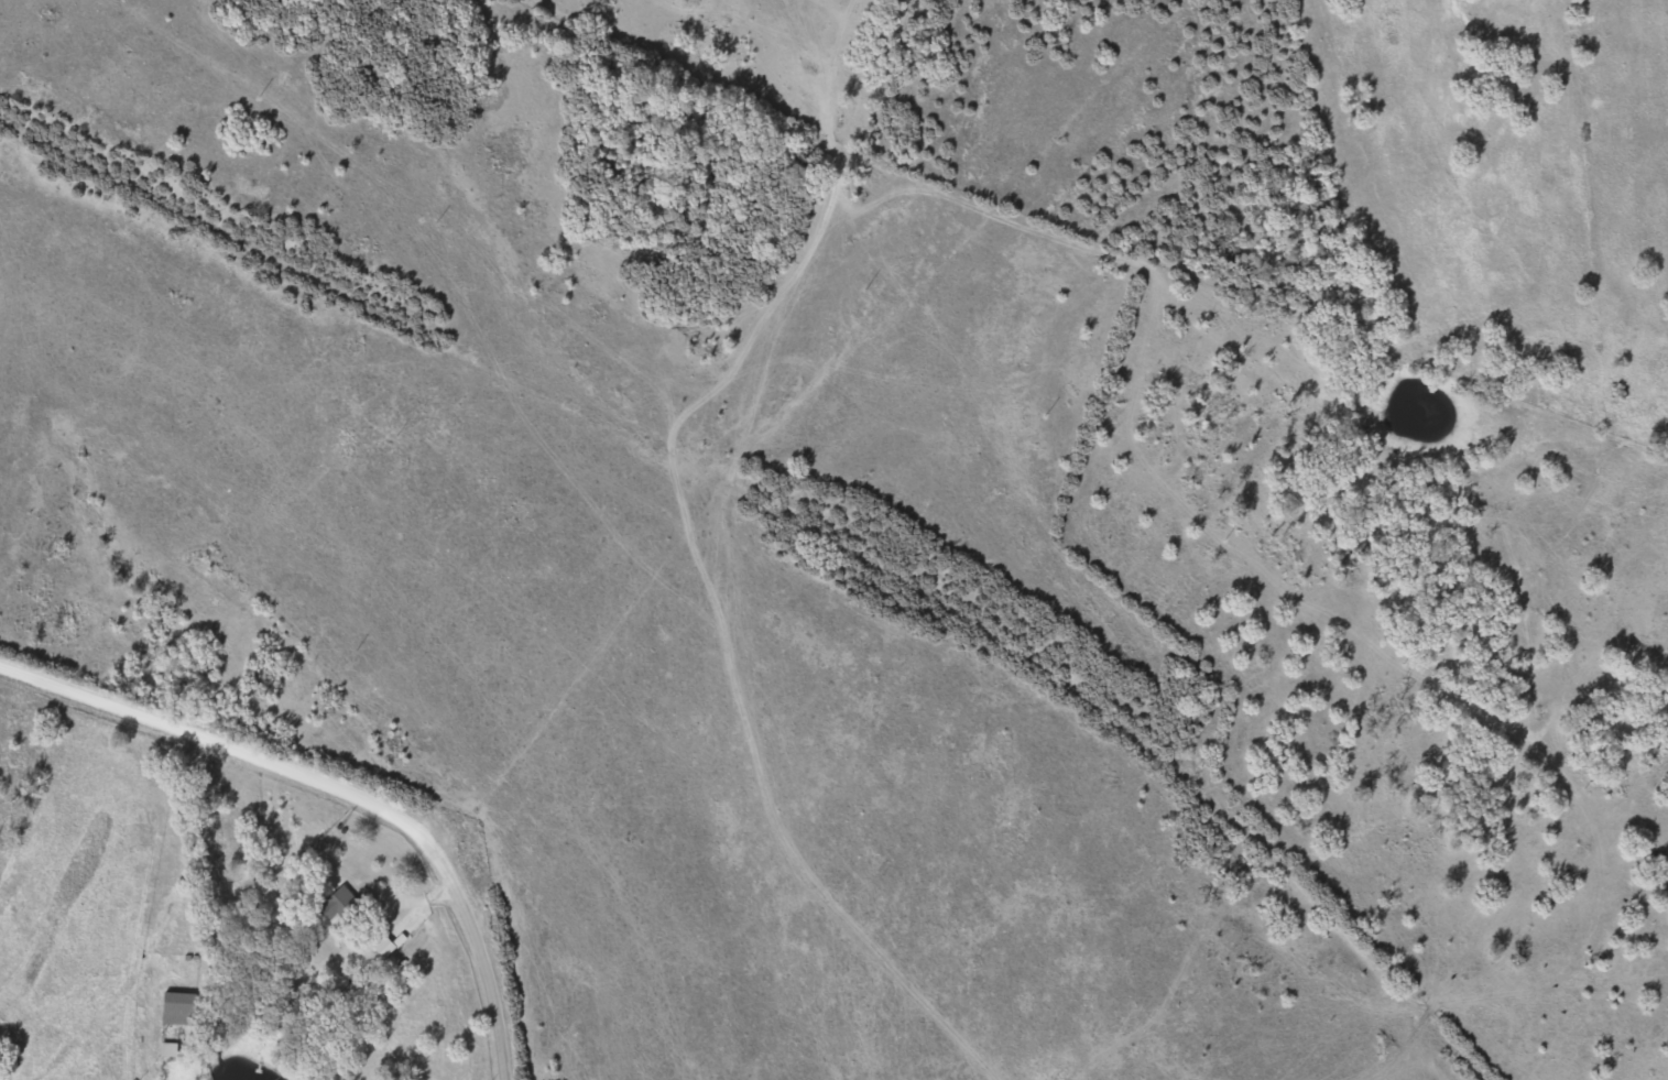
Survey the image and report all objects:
road: (655, 432)
railway: (818, 519)
road: (221, 750)
building: (341, 905)
road: (472, 961)
building: (181, 1005)

